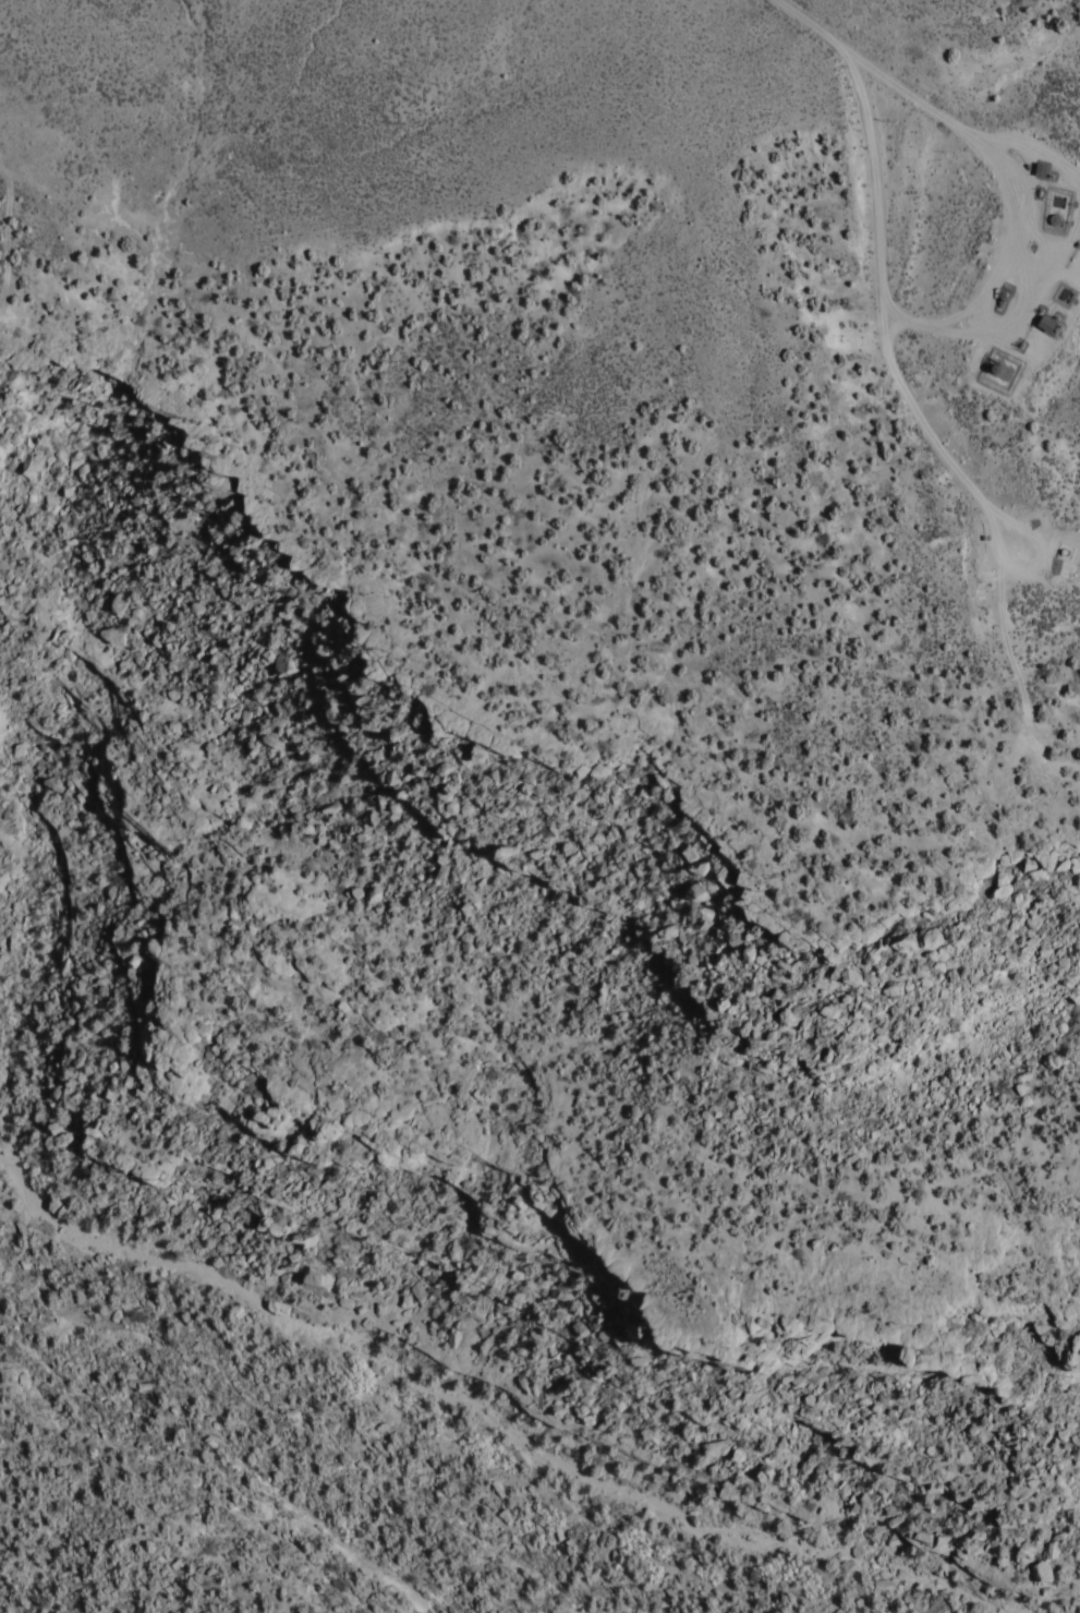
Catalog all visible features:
road: (984, 217)
building: (1042, 324)

